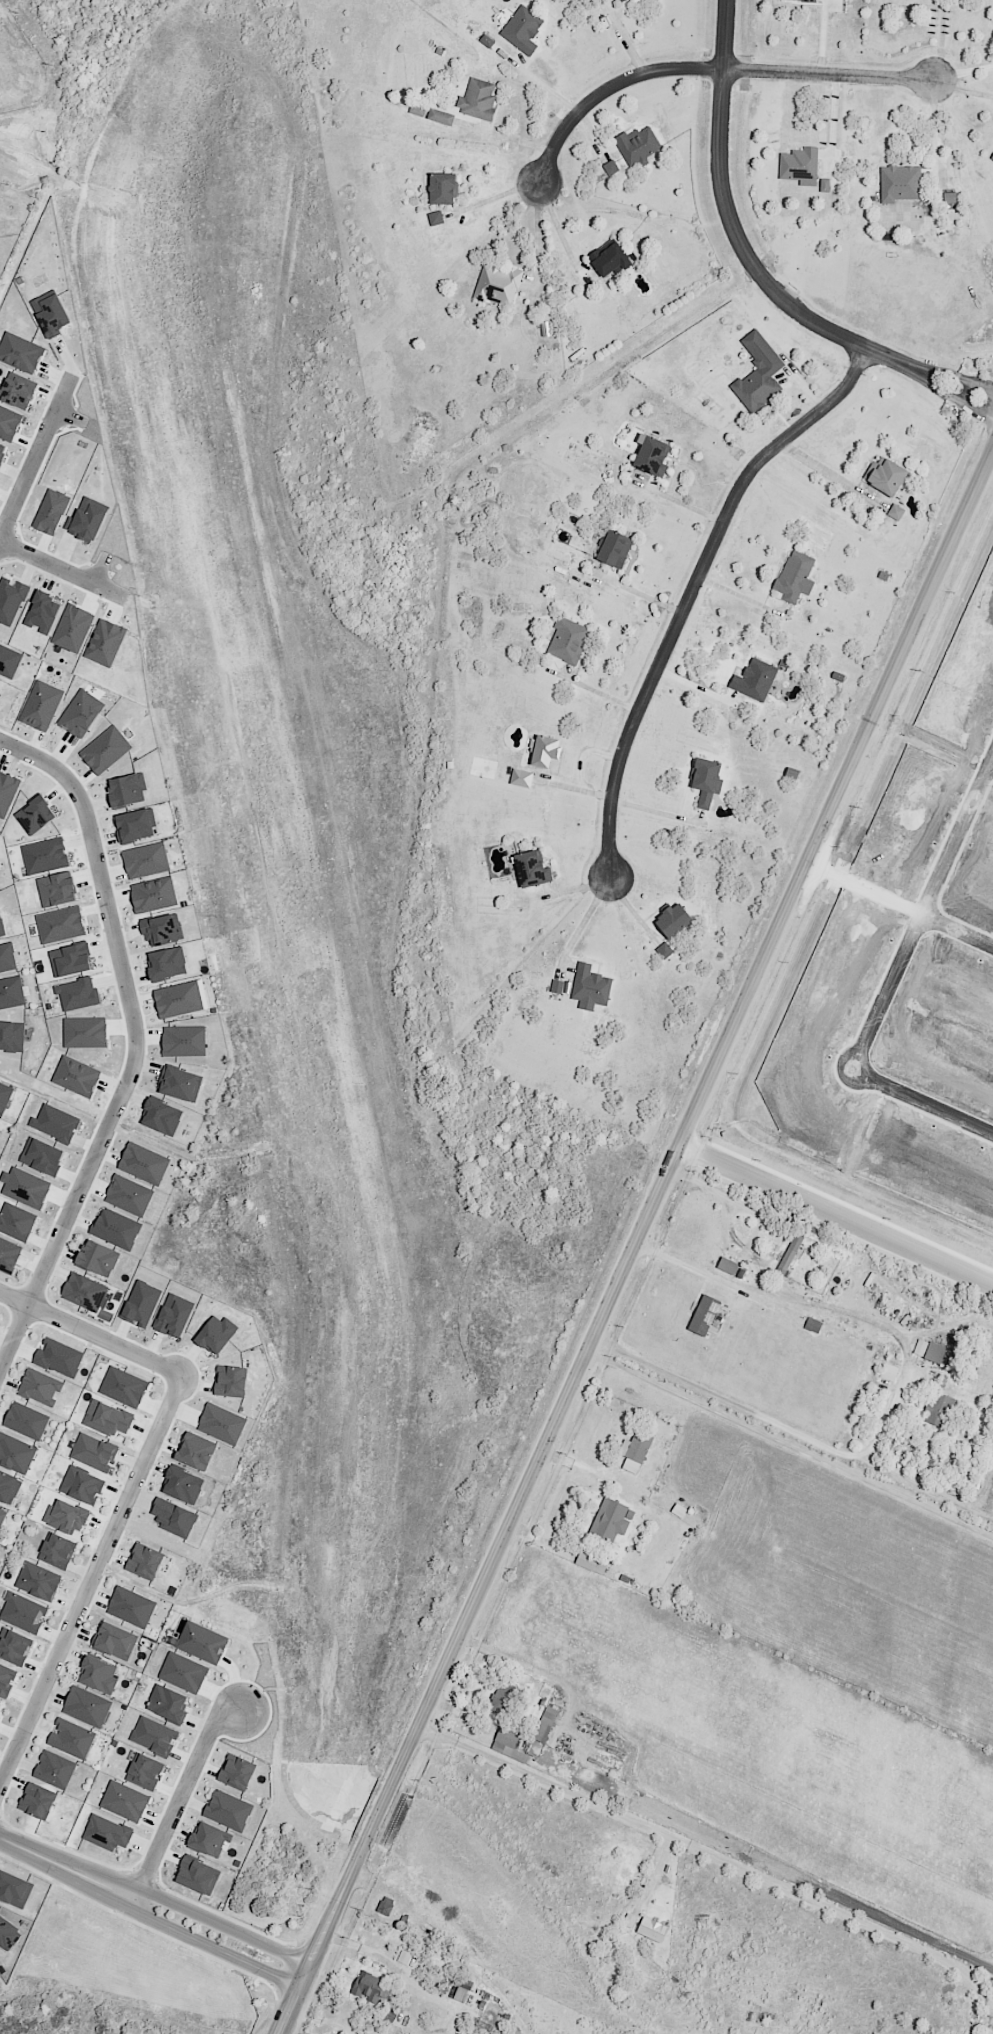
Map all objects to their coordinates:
building: (620, 0)
building: (801, 0)
building: (522, 29)
road: (938, 40)
road: (708, 65)
road: (964, 73)
road: (538, 83)
road: (963, 91)
building: (477, 100)
building: (417, 109)
building: (441, 117)
road: (936, 127)
building: (638, 145)
building: (992, 158)
building: (799, 166)
building: (610, 167)
building: (899, 183)
building: (824, 185)
building: (442, 188)
building: (950, 197)
road: (494, 198)
building: (435, 218)
road: (558, 225)
road: (537, 233)
road: (745, 249)
building: (610, 258)
building: (497, 285)
building: (50, 314)
building: (546, 329)
building: (20, 353)
building: (758, 373)
building: (17, 391)
road: (972, 394)
building: (9, 423)
building: (2, 452)
building: (652, 456)
road: (38, 467)
road: (831, 474)
building: (885, 475)
road: (686, 505)
building: (51, 511)
building: (896, 512)
building: (87, 520)
building: (614, 548)
road: (64, 569)
building: (795, 576)
road: (698, 587)
road: (645, 593)
road: (743, 596)
building: (11, 600)
building: (42, 612)
building: (73, 628)
building: (568, 640)
building: (105, 642)
building: (9, 661)
building: (754, 680)
road: (597, 691)
building: (41, 705)
building: (80, 713)
building: (105, 750)
building: (544, 751)
building: (521, 778)
building: (706, 781)
building: (127, 789)
building: (7, 792)
road: (657, 811)
building: (35, 815)
building: (136, 825)
building: (45, 855)
building: (146, 860)
building: (531, 869)
road: (868, 888)
building: (56, 889)
building: (153, 895)
road: (629, 907)
road: (587, 916)
road: (926, 918)
building: (673, 920)
building: (60, 924)
building: (1, 926)
building: (162, 929)
road: (960, 929)
building: (664, 950)
building: (7, 957)
building: (70, 959)
building: (167, 963)
building: (557, 986)
building: (590, 987)
building: (11, 992)
building: (78, 994)
building: (181, 999)
building: (85, 1032)
building: (12, 1036)
building: (184, 1041)
road: (141, 1048)
building: (76, 1076)
building: (180, 1083)
building: (4, 1096)
road: (927, 1100)
building: (162, 1116)
building: (55, 1123)
building: (42, 1156)
building: (144, 1163)
building: (25, 1187)
road: (715, 1190)
building: (129, 1195)
building: (16, 1221)
building: (116, 1229)
road: (634, 1243)
building: (790, 1253)
building: (9, 1255)
building: (98, 1258)
road: (676, 1262)
building: (727, 1265)
building: (84, 1292)
building: (141, 1303)
building: (174, 1315)
building: (704, 1315)
road: (95, 1333)
building: (216, 1334)
building: (920, 1347)
building: (935, 1353)
building: (59, 1357)
building: (889, 1372)
building: (230, 1381)
building: (123, 1386)
building: (40, 1387)
building: (939, 1410)
building: (107, 1418)
building: (26, 1420)
road: (768, 1421)
building: (222, 1424)
road: (789, 1441)
building: (196, 1451)
building: (635, 1451)
building: (94, 1452)
building: (16, 1454)
road: (582, 1465)
building: (82, 1485)
building: (183, 1485)
building: (9, 1487)
building: (2, 1516)
building: (66, 1517)
building: (174, 1518)
building: (609, 1520)
building: (56, 1551)
building: (586, 1560)
building: (145, 1561)
building: (38, 1581)
road: (95, 1585)
building: (131, 1607)
building: (23, 1612)
building: (115, 1641)
building: (202, 1642)
building: (15, 1647)
building: (183, 1672)
building: (98, 1675)
building: (7, 1679)
building: (502, 1697)
building: (168, 1704)
building: (1, 1705)
building: (87, 1706)
building: (545, 1724)
building: (154, 1736)
building: (507, 1737)
building: (71, 1738)
building: (55, 1770)
building: (145, 1771)
building: (237, 1772)
road: (187, 1794)
building: (125, 1801)
building: (228, 1810)
building: (107, 1833)
building: (209, 1839)
road: (712, 1855)
road: (71, 1866)
building: (198, 1875)
building: (14, 1889)
road: (225, 1925)
building: (652, 1929)
building: (9, 1934)
road: (215, 1947)
building: (404, 1957)
building: (369, 1986)
building: (462, 1992)
road: (323, 2019)

